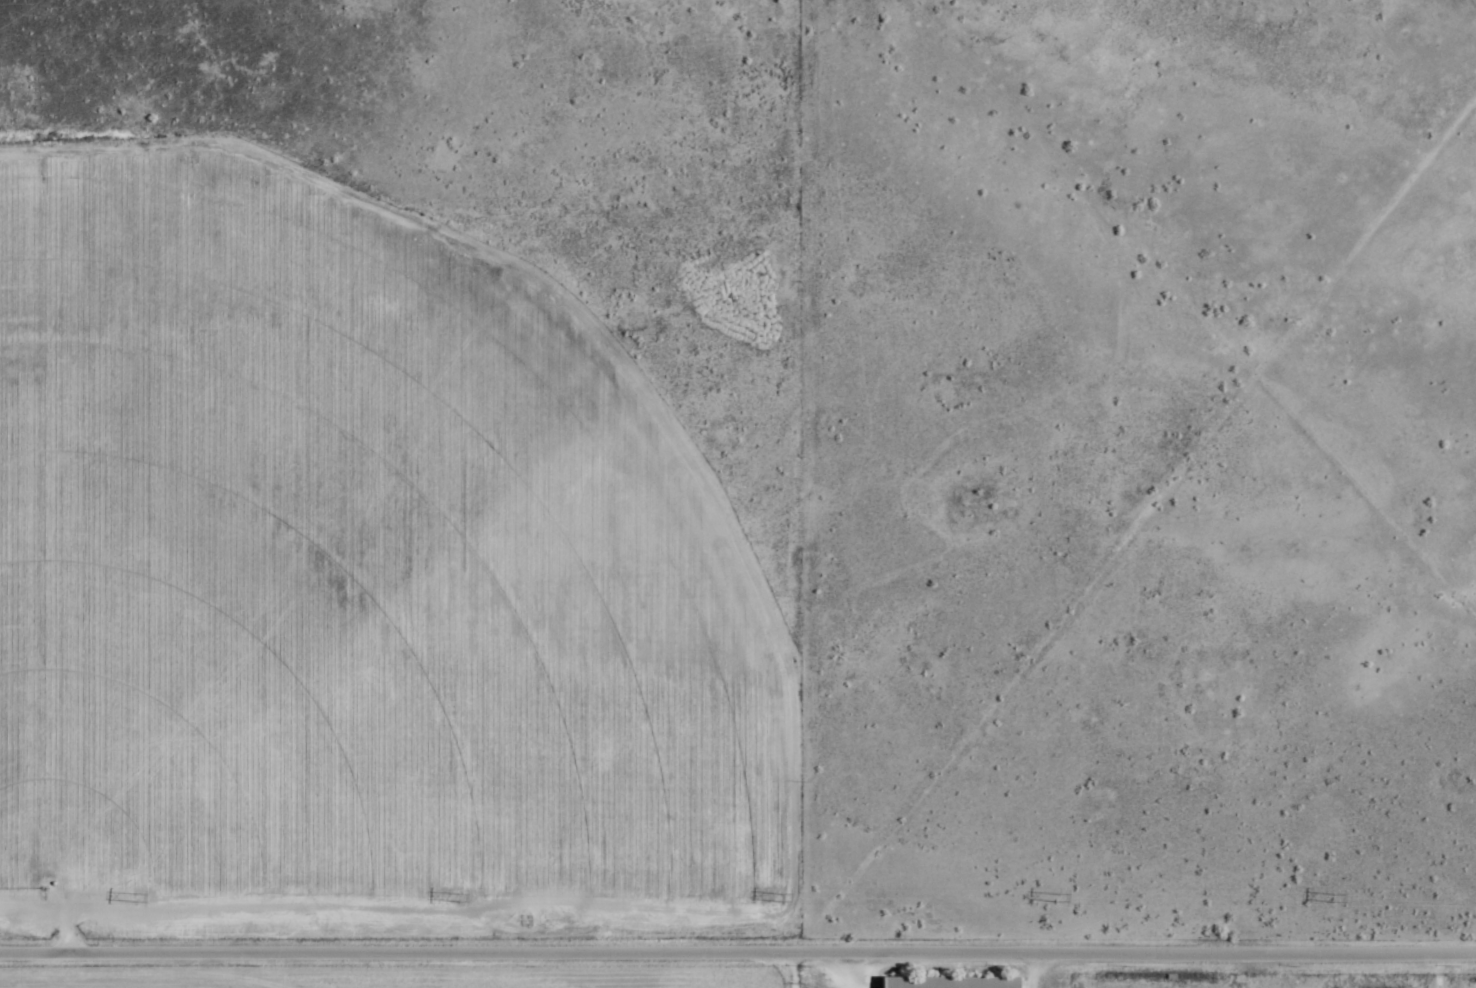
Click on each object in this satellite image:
power tower: (131, 896)
power tower: (457, 897)
power tower: (780, 897)
power tower: (1059, 898)
power tower: (1336, 899)
road: (738, 951)
road: (794, 969)
building: (952, 982)

